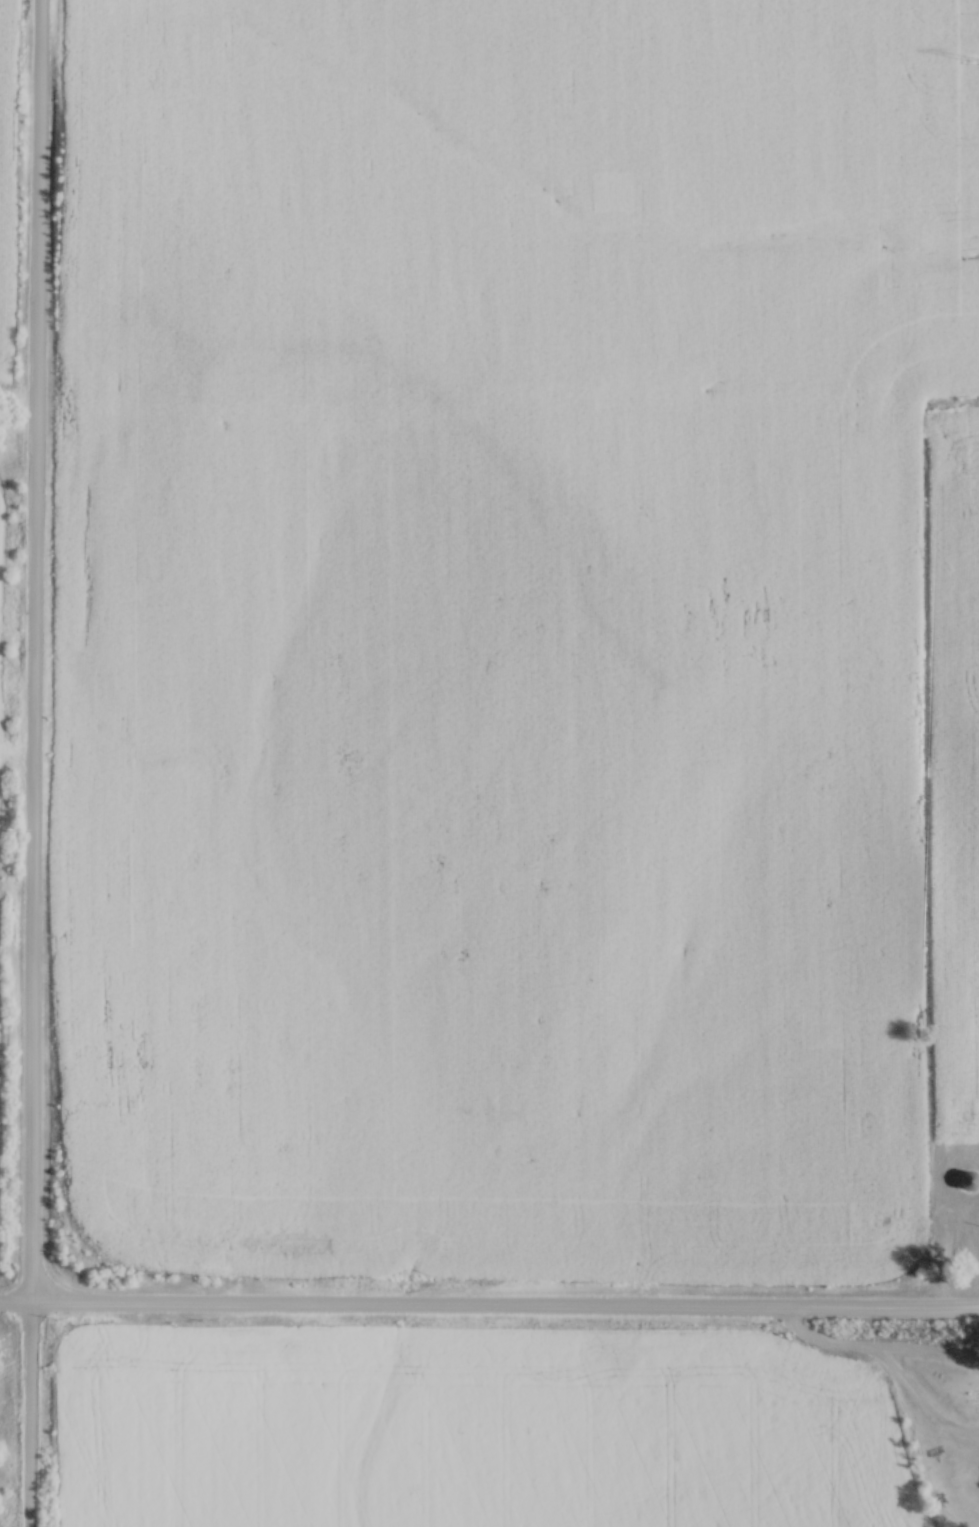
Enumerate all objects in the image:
power tower: (976, 56)
road: (35, 763)
building: (968, 1178)
road: (489, 1301)
road: (817, 1340)
road: (878, 1360)

